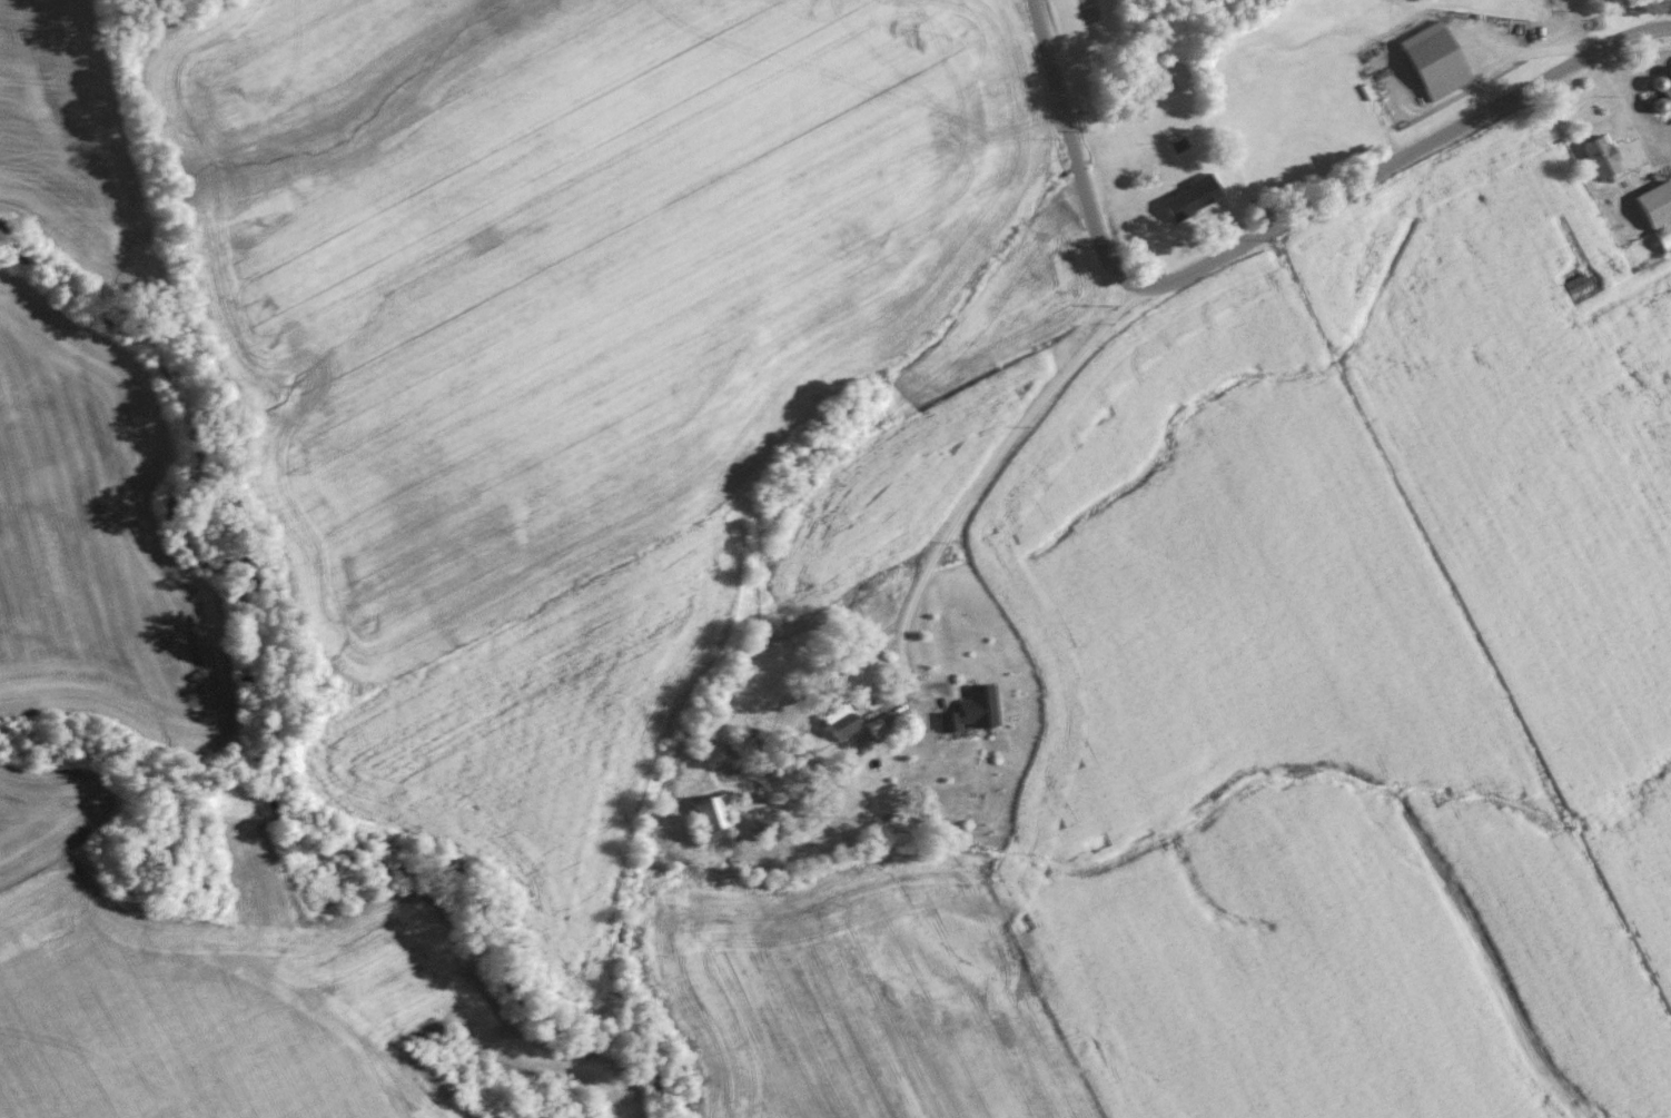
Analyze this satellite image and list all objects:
building: (1435, 60)
building: (1668, 92)
road: (1630, 113)
building: (1601, 158)
building: (1657, 204)
building: (1180, 205)
road: (1266, 232)
building: (1664, 237)
road: (981, 482)
building: (971, 710)
building: (839, 722)
building: (749, 738)
building: (712, 819)

